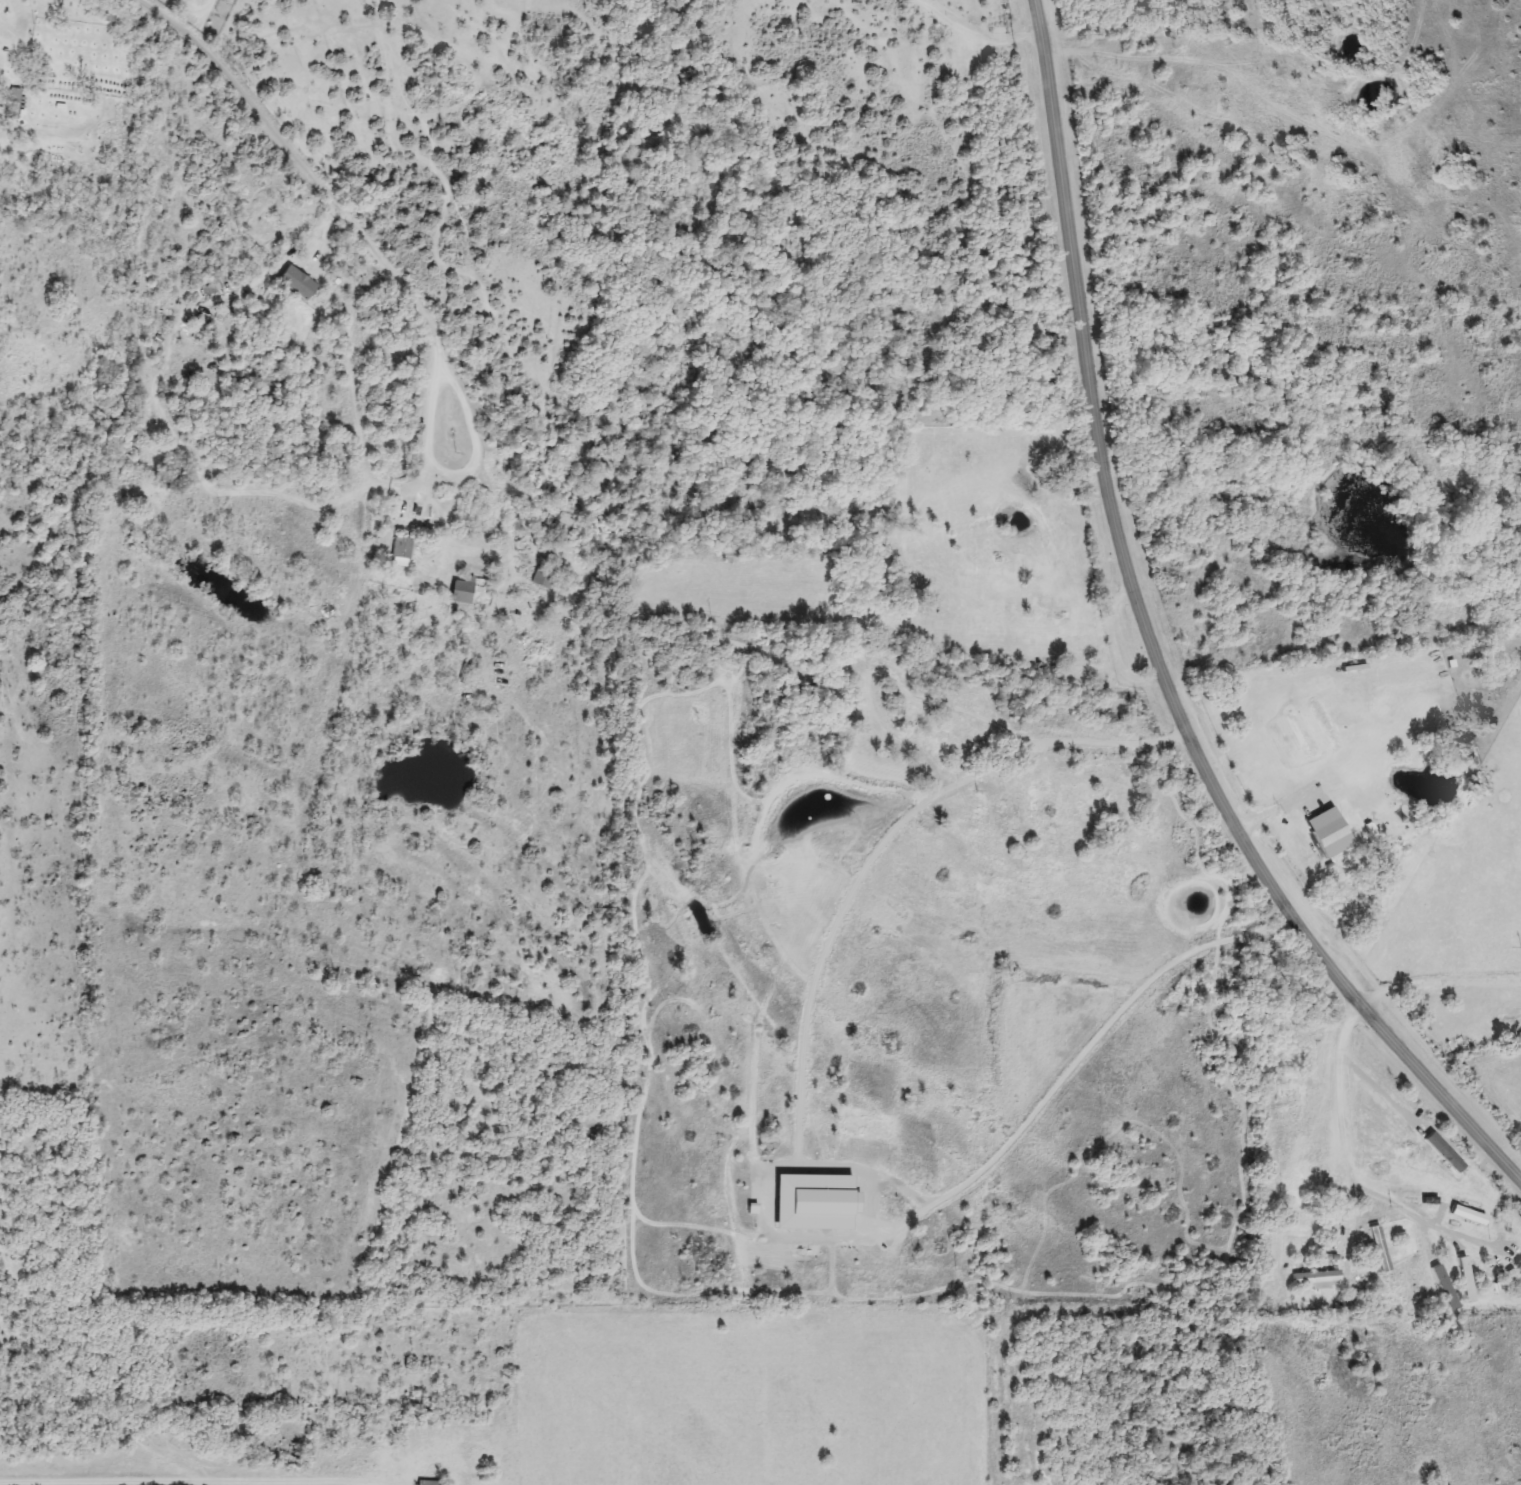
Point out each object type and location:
road: (293, 155)
building: (294, 283)
road: (455, 475)
building: (465, 507)
building: (400, 549)
building: (460, 589)
building: (1077, 644)
road: (1152, 645)
road: (1106, 743)
building: (966, 744)
road: (1438, 982)
building: (1505, 1014)
road: (1088, 1051)
road: (1335, 1127)
building: (1377, 1249)
building: (1314, 1277)
road: (108, 1483)
building: (427, 1483)

